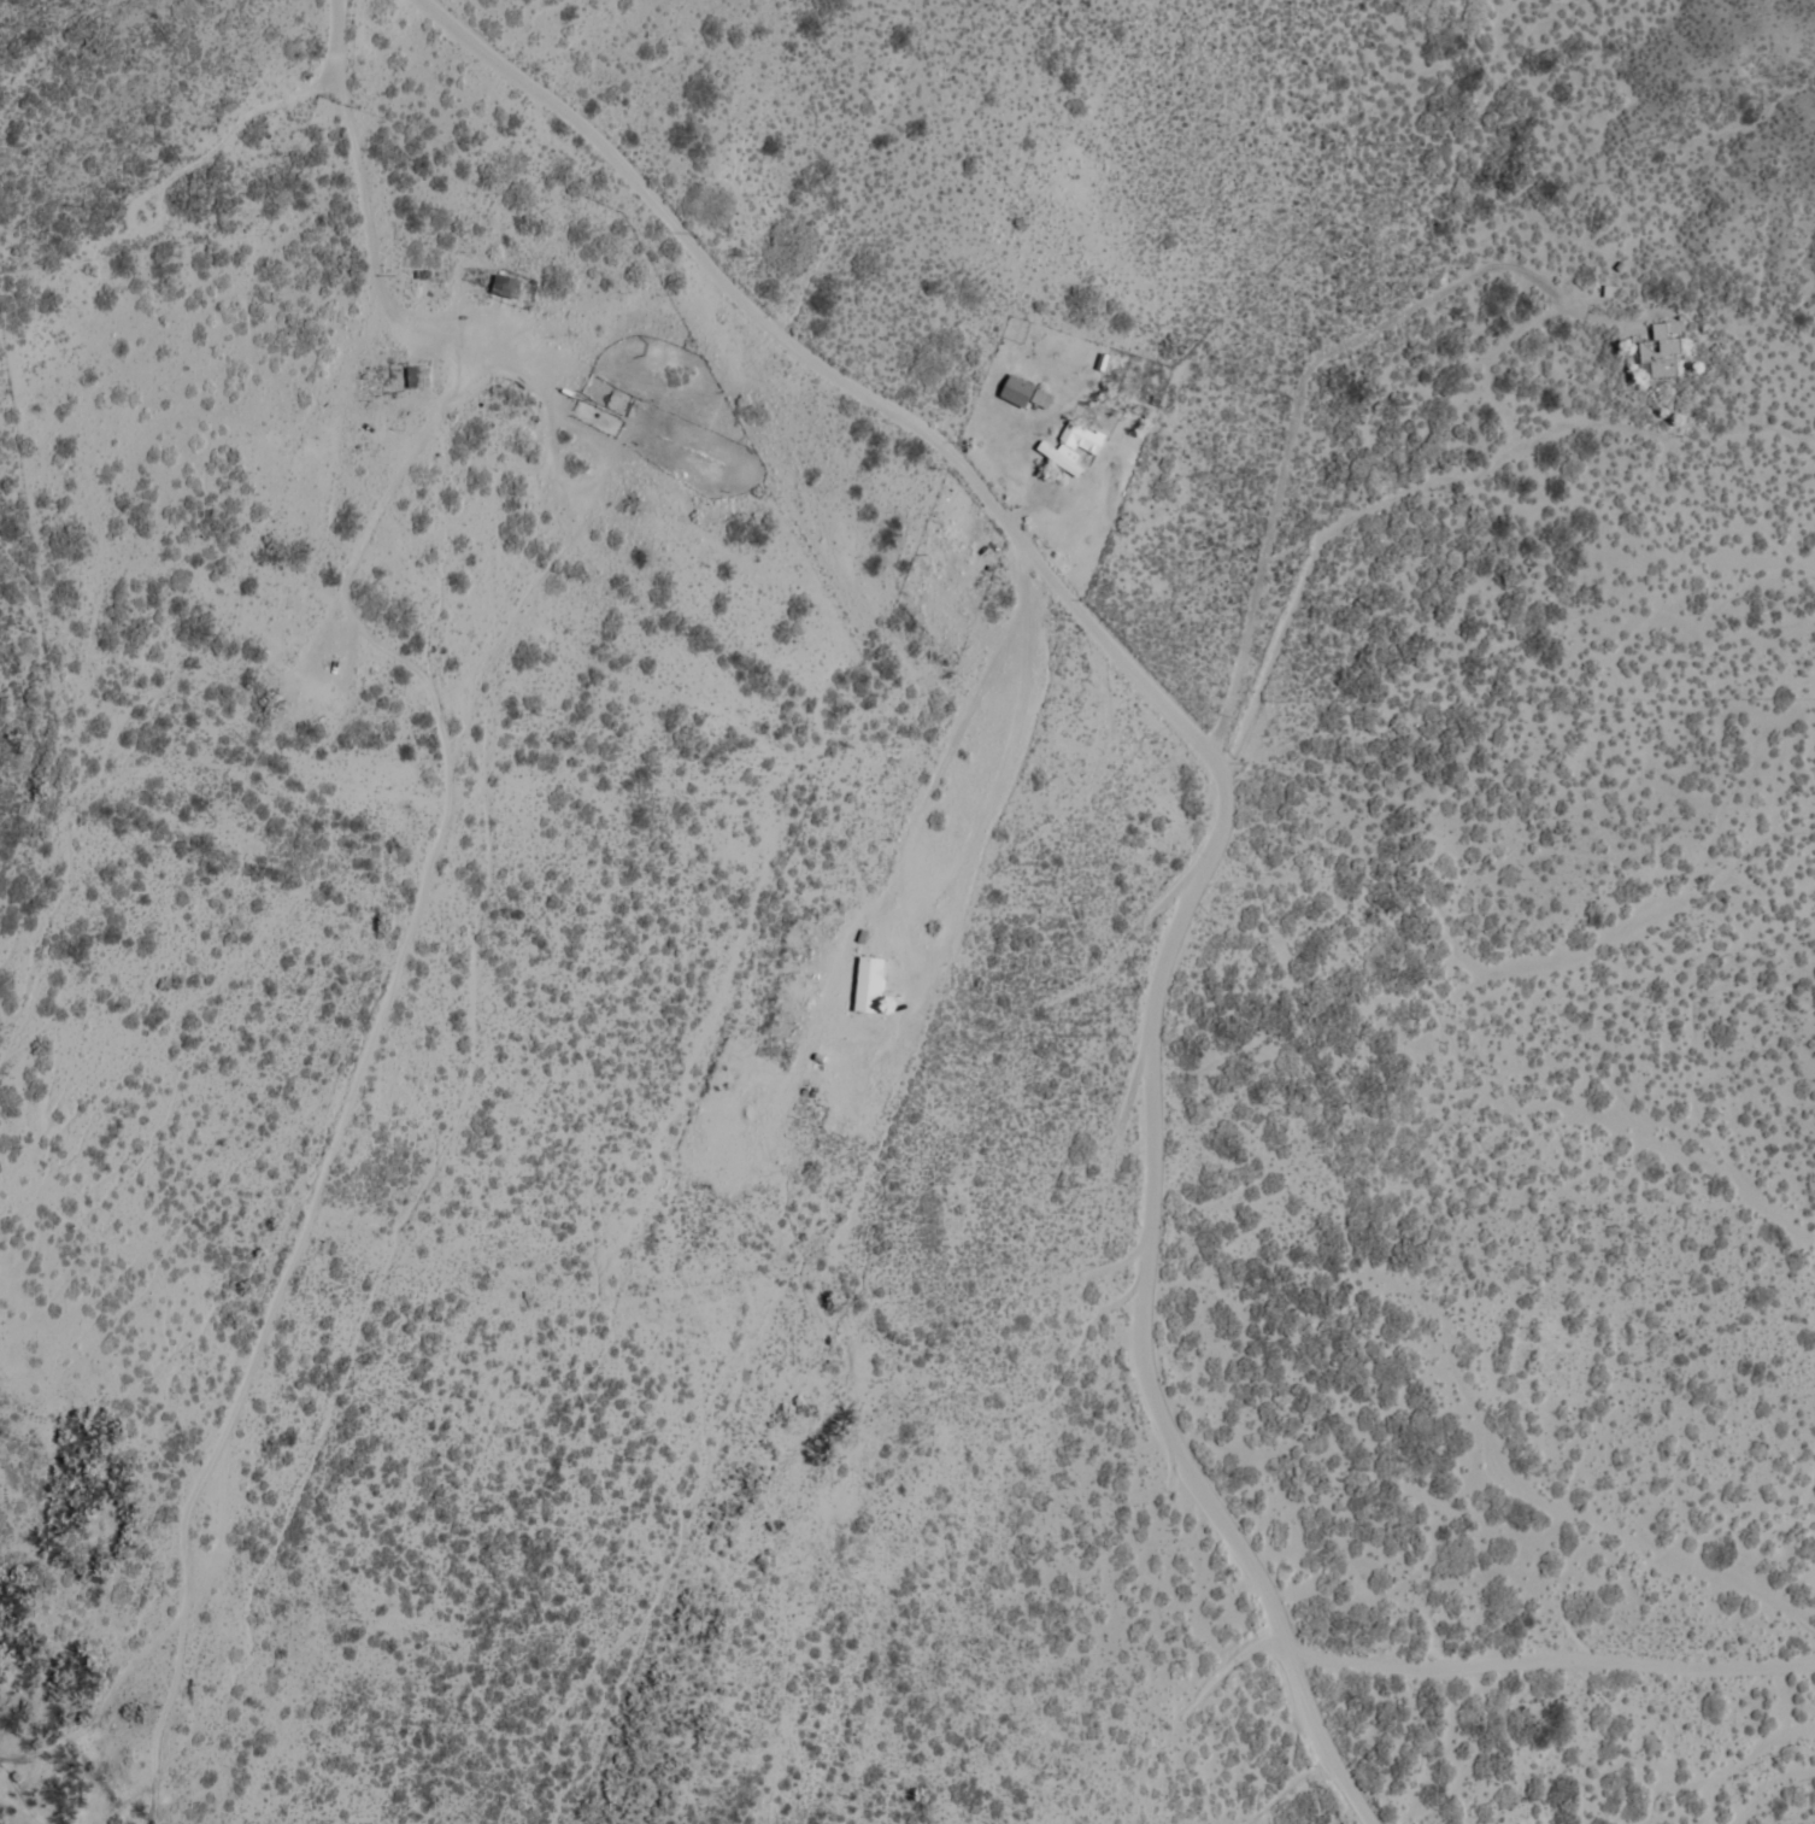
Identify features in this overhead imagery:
building: (512, 289)
building: (1660, 356)
building: (417, 380)
building: (1024, 395)
building: (1058, 461)
building: (948, 567)
road: (480, 925)
building: (868, 987)
road: (245, 1397)
road: (107, 1420)

